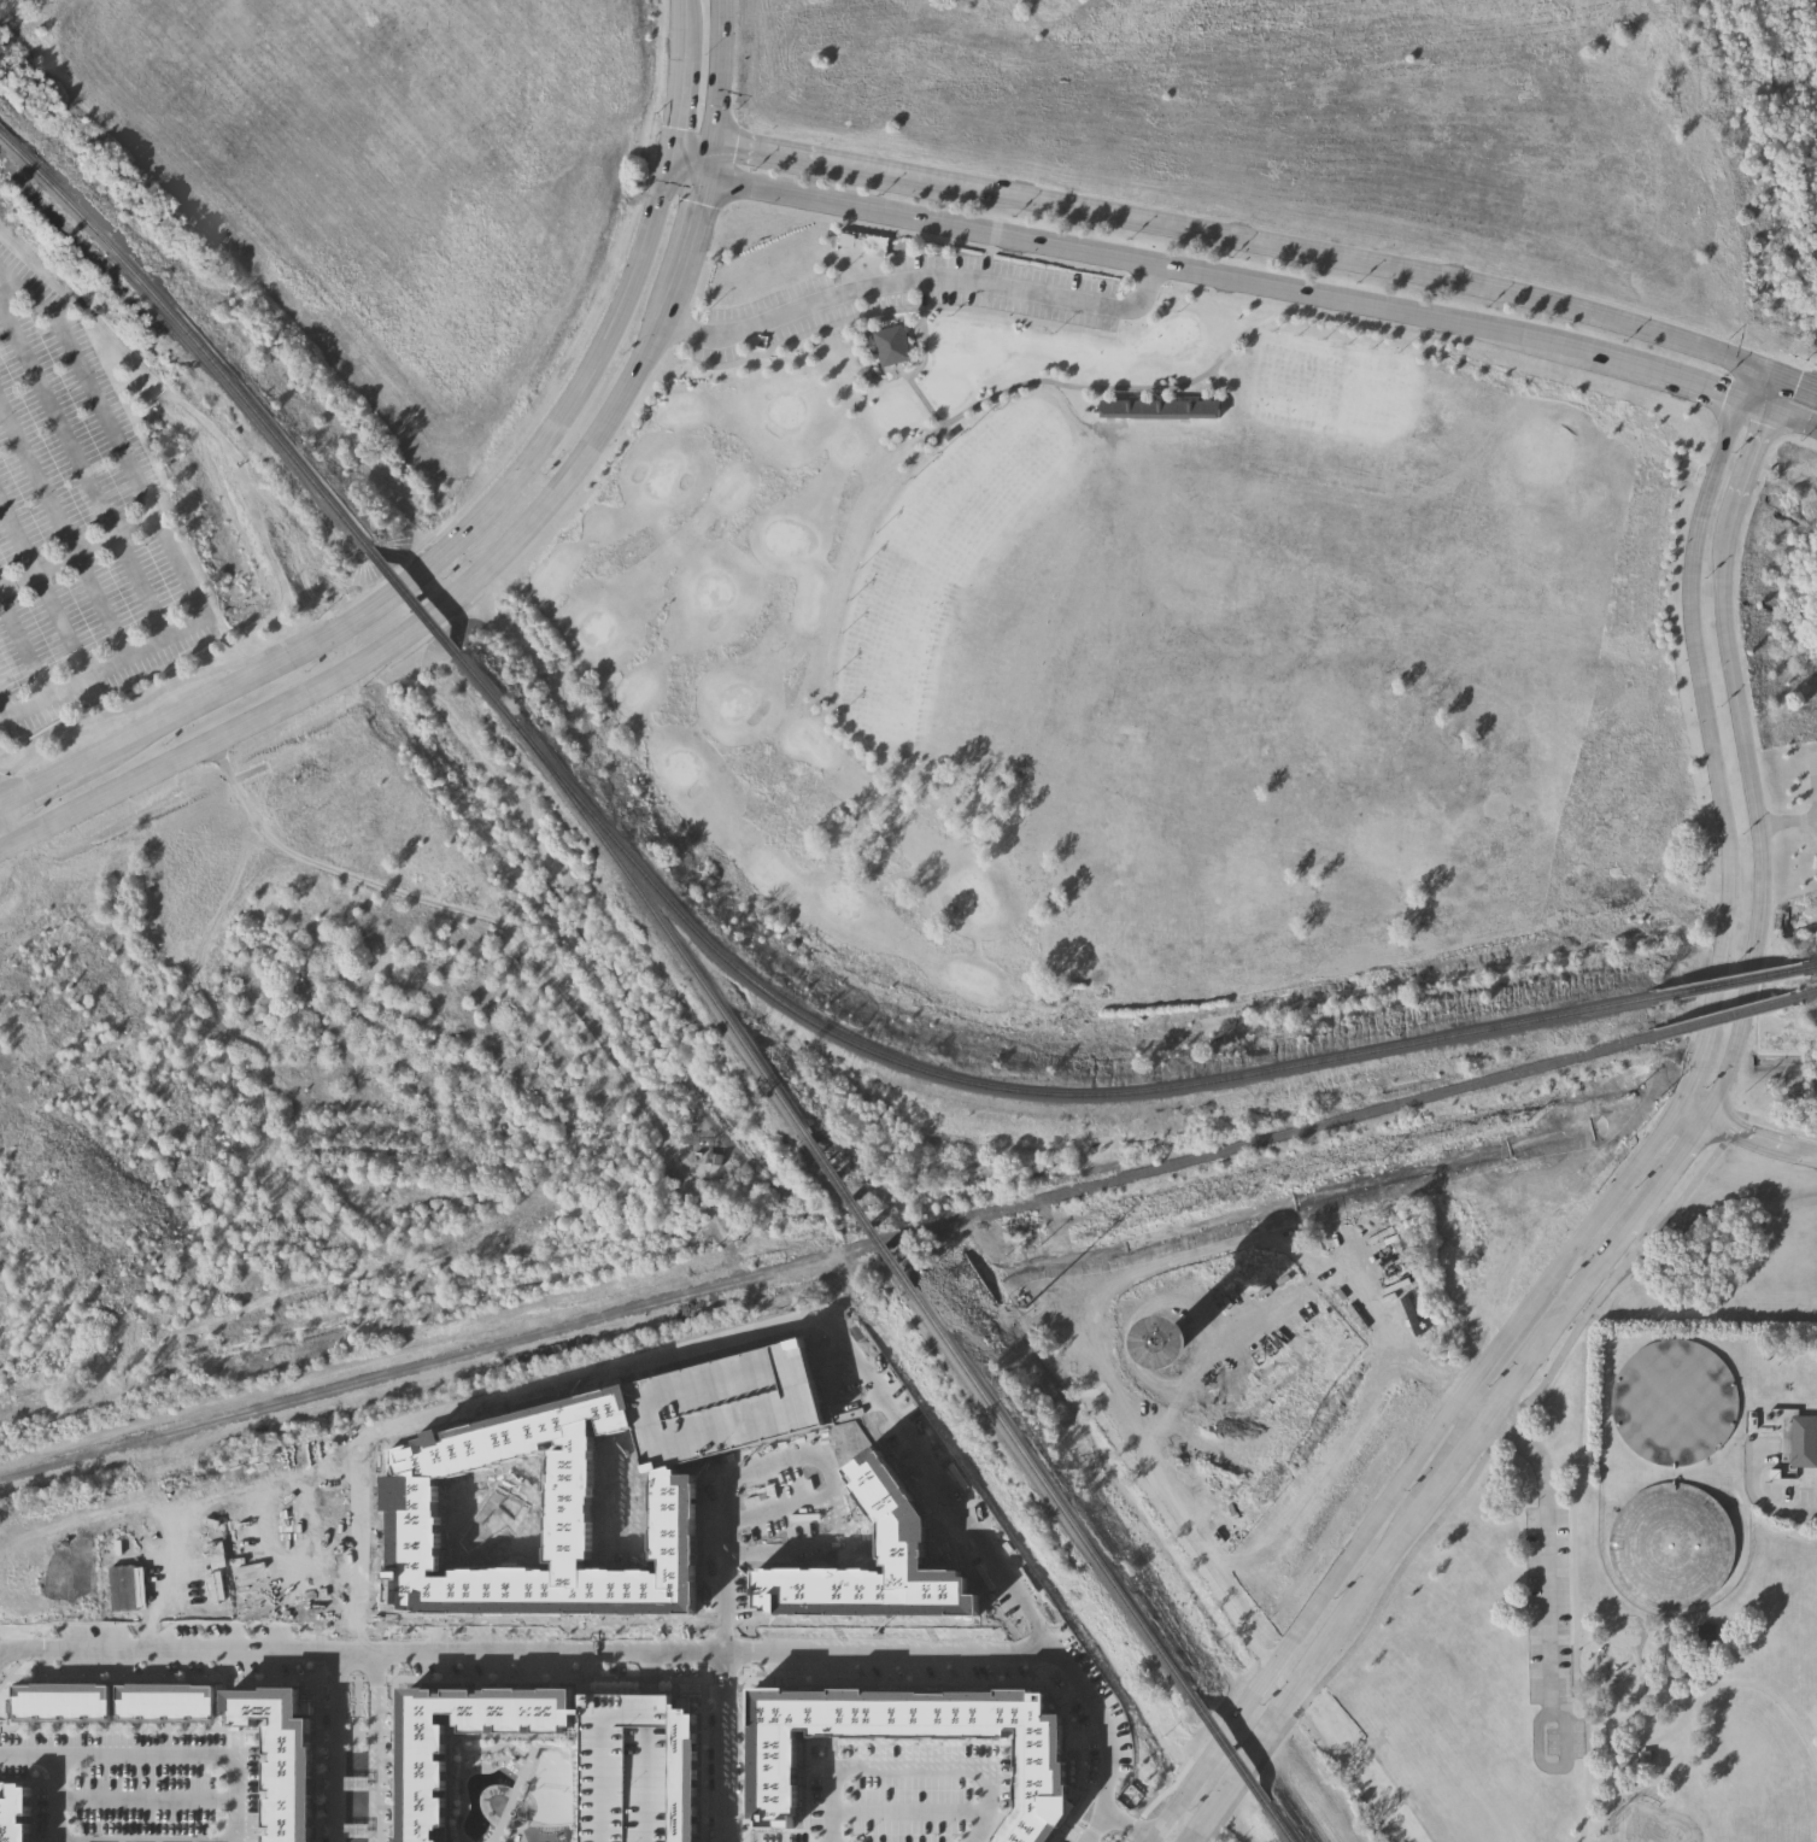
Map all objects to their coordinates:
road: (687, 17)
road: (720, 71)
road: (684, 90)
traffic signals: (714, 142)
road: (693, 143)
traffic signals: (673, 146)
road: (766, 151)
road: (710, 160)
road: (690, 162)
road: (878, 172)
traffic signals: (707, 178)
road: (1161, 225)
road: (1151, 265)
road: (914, 284)
parking lot: (904, 294)
road: (1567, 310)
road: (921, 333)
railway: (191, 336)
building: (889, 346)
traffic signals: (1751, 365)
road: (1667, 376)
traffic signals: (1782, 380)
road: (1783, 380)
road: (1745, 381)
road: (1227, 386)
road: (1108, 387)
road: (1120, 391)
road: (919, 394)
road: (1776, 394)
traffic signals: (1739, 398)
road: (1754, 403)
building: (1161, 404)
traffic signals: (1771, 409)
road: (1794, 417)
road: (116, 432)
road: (84, 463)
road: (1751, 464)
road: (63, 528)
road: (17, 539)
road: (77, 550)
road: (429, 563)
railway: (416, 602)
road: (445, 604)
road: (61, 624)
road: (25, 645)
park: (1136, 655)
road: (109, 667)
road: (157, 682)
railway: (488, 691)
road: (5, 706)
road: (1706, 716)
road: (1815, 772)
road: (1788, 821)
road: (1759, 822)
road: (2, 828)
road: (476, 911)
railway: (663, 931)
railway: (1815, 966)
railway: (1733, 982)
railway: (1807, 997)
railway: (1725, 1019)
road: (1689, 1074)
railway: (1021, 1091)
road: (1689, 1114)
road: (1770, 1125)
road: (1760, 1138)
road: (1642, 1155)
building: (719, 1156)
road: (1672, 1163)
railway: (862, 1214)
road: (1577, 1248)
railway: (826, 1259)
water tower: (1168, 1330)
building: (1335, 1333)
road: (844, 1337)
road: (1394, 1339)
road: (821, 1343)
road: (1502, 1343)
building: (1313, 1363)
road: (604, 1367)
road: (1120, 1374)
building: (721, 1394)
parking garage: (721, 1394)
building: (1670, 1396)
road: (1560, 1410)
road: (670, 1430)
building: (1804, 1437)
road: (799, 1453)
road: (336, 1476)
road: (1466, 1483)
road: (950, 1485)
road: (776, 1492)
railway: (1055, 1496)
road: (1775, 1500)
parking lot: (767, 1502)
building: (569, 1508)
park: (620, 1517)
road: (217, 1523)
road: (1412, 1523)
road: (1171, 1526)
road: (357, 1542)
building: (1667, 1542)
building: (873, 1553)
road: (142, 1560)
road: (327, 1584)
road: (1575, 1584)
road: (991, 1589)
road: (322, 1603)
parking lot: (1548, 1606)
road: (1548, 1606)
road: (543, 1612)
road: (1305, 1617)
road: (723, 1625)
road: (51, 1630)
building: (1706, 1632)
road: (11, 1648)
road: (539, 1649)
road: (11, 1660)
road: (646, 1664)
road: (2, 1665)
park: (1569, 1665)
road: (526, 1668)
road: (1684, 1671)
road: (1699, 1676)
building: (59, 1700)
building: (164, 1700)
road: (1686, 1714)
road: (316, 1726)
road: (391, 1726)
road: (701, 1727)
road: (744, 1727)
road: (1106, 1737)
parking lot: (1555, 1738)
building: (905, 1743)
road: (335, 1746)
road: (376, 1746)
road: (723, 1746)
railway: (1230, 1752)
road: (28, 1753)
road: (188, 1753)
road: (605, 1753)
building: (280, 1756)
building: (1642, 1758)
road: (647, 1760)
road: (910, 1765)
building: (423, 1766)
building: (635, 1767)
parking garage: (635, 1767)
parking lot: (134, 1779)
road: (145, 1793)
parking lot: (899, 1794)
road: (1151, 1794)
road: (54, 1796)
road: (908, 1802)
building: (13, 1811)
road: (1078, 1811)
park: (1643, 1819)
road: (1095, 1822)
railway: (1282, 1824)
road: (1124, 1828)
road: (1113, 1834)

